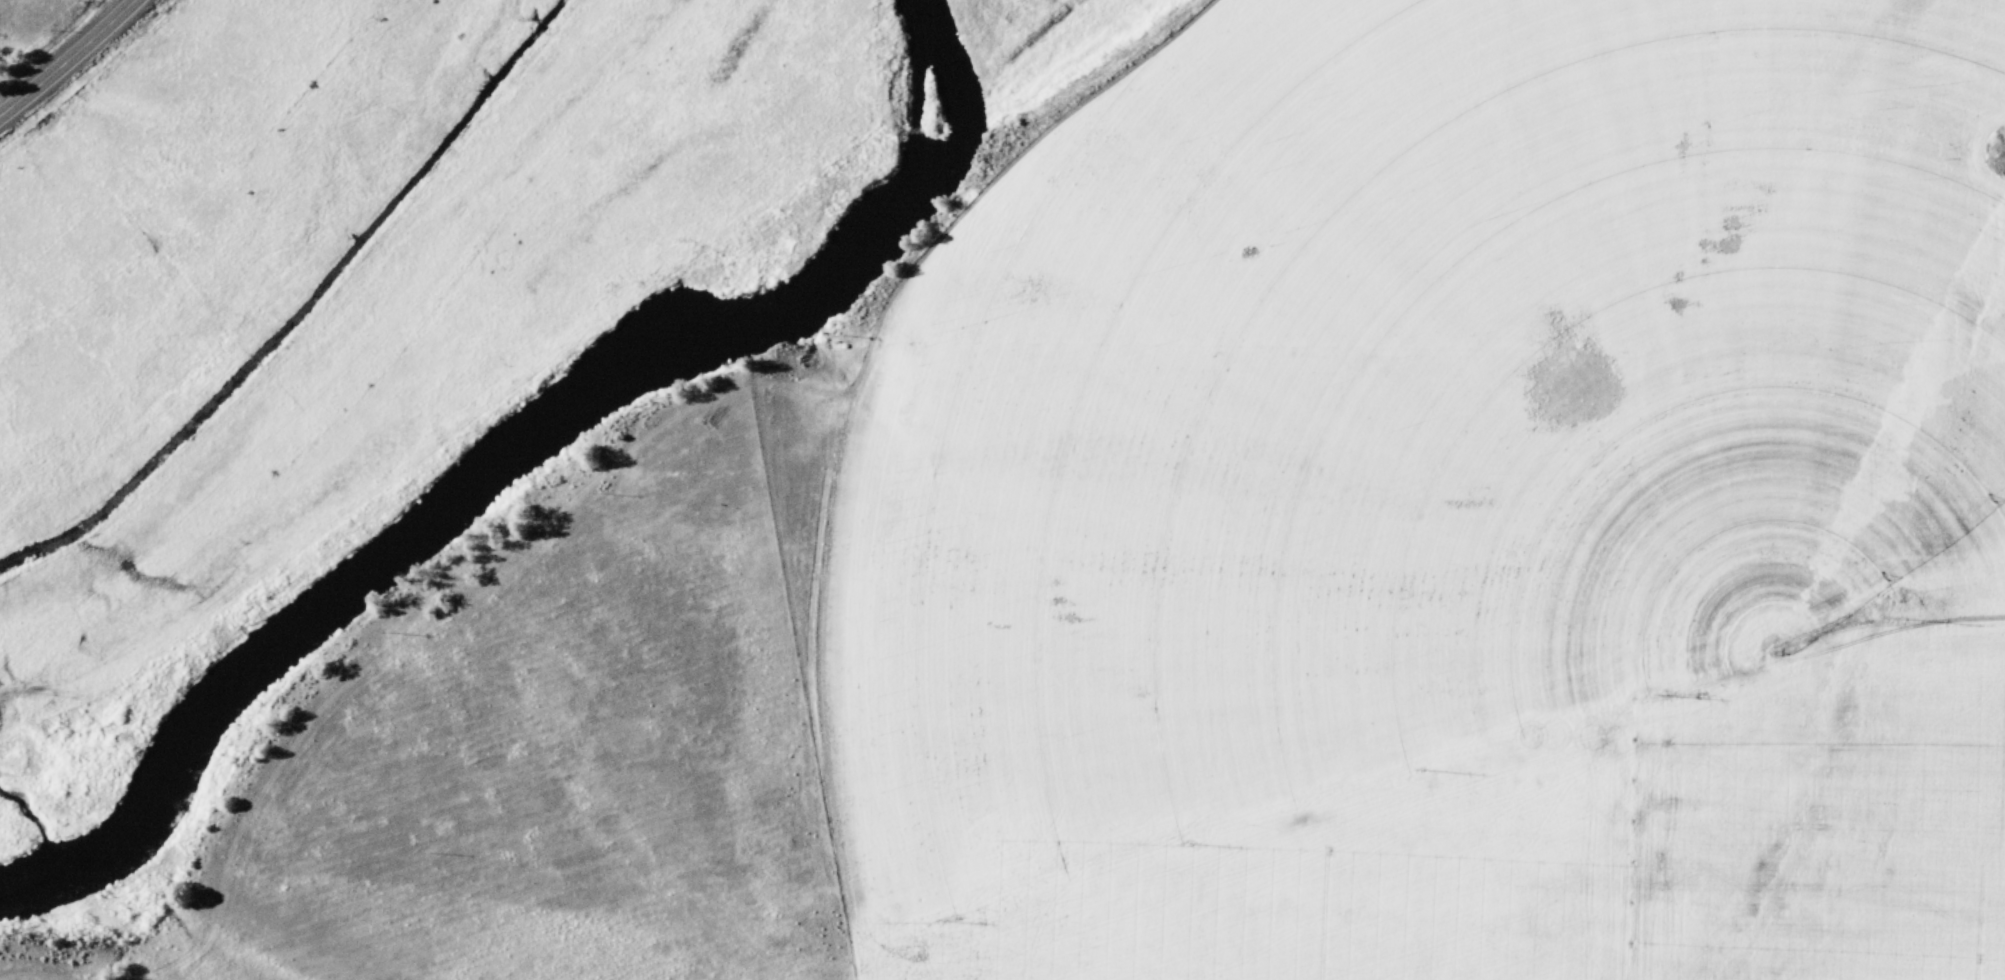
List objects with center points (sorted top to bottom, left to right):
road: (73, 63)
road: (9, 92)
river: (511, 445)
road: (1829, 808)

